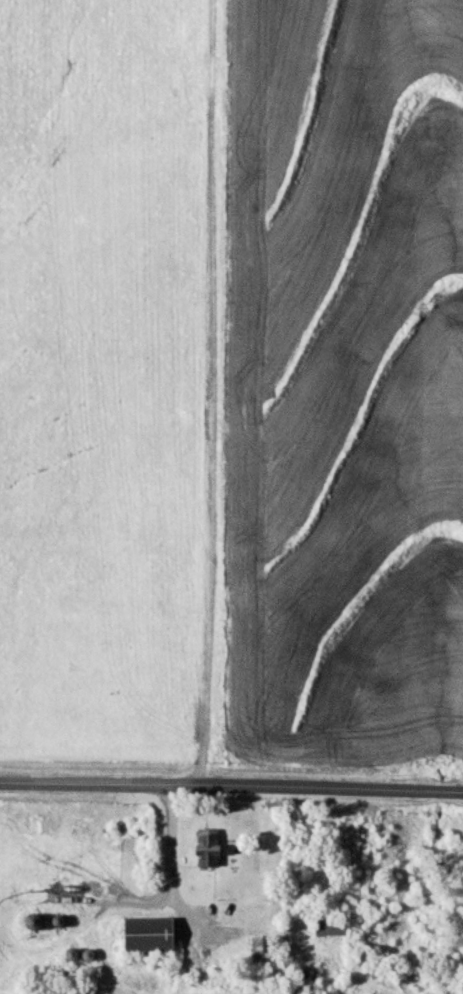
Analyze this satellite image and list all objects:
road: (231, 788)
building: (208, 849)
building: (34, 922)
building: (331, 927)
building: (149, 935)
building: (262, 952)

